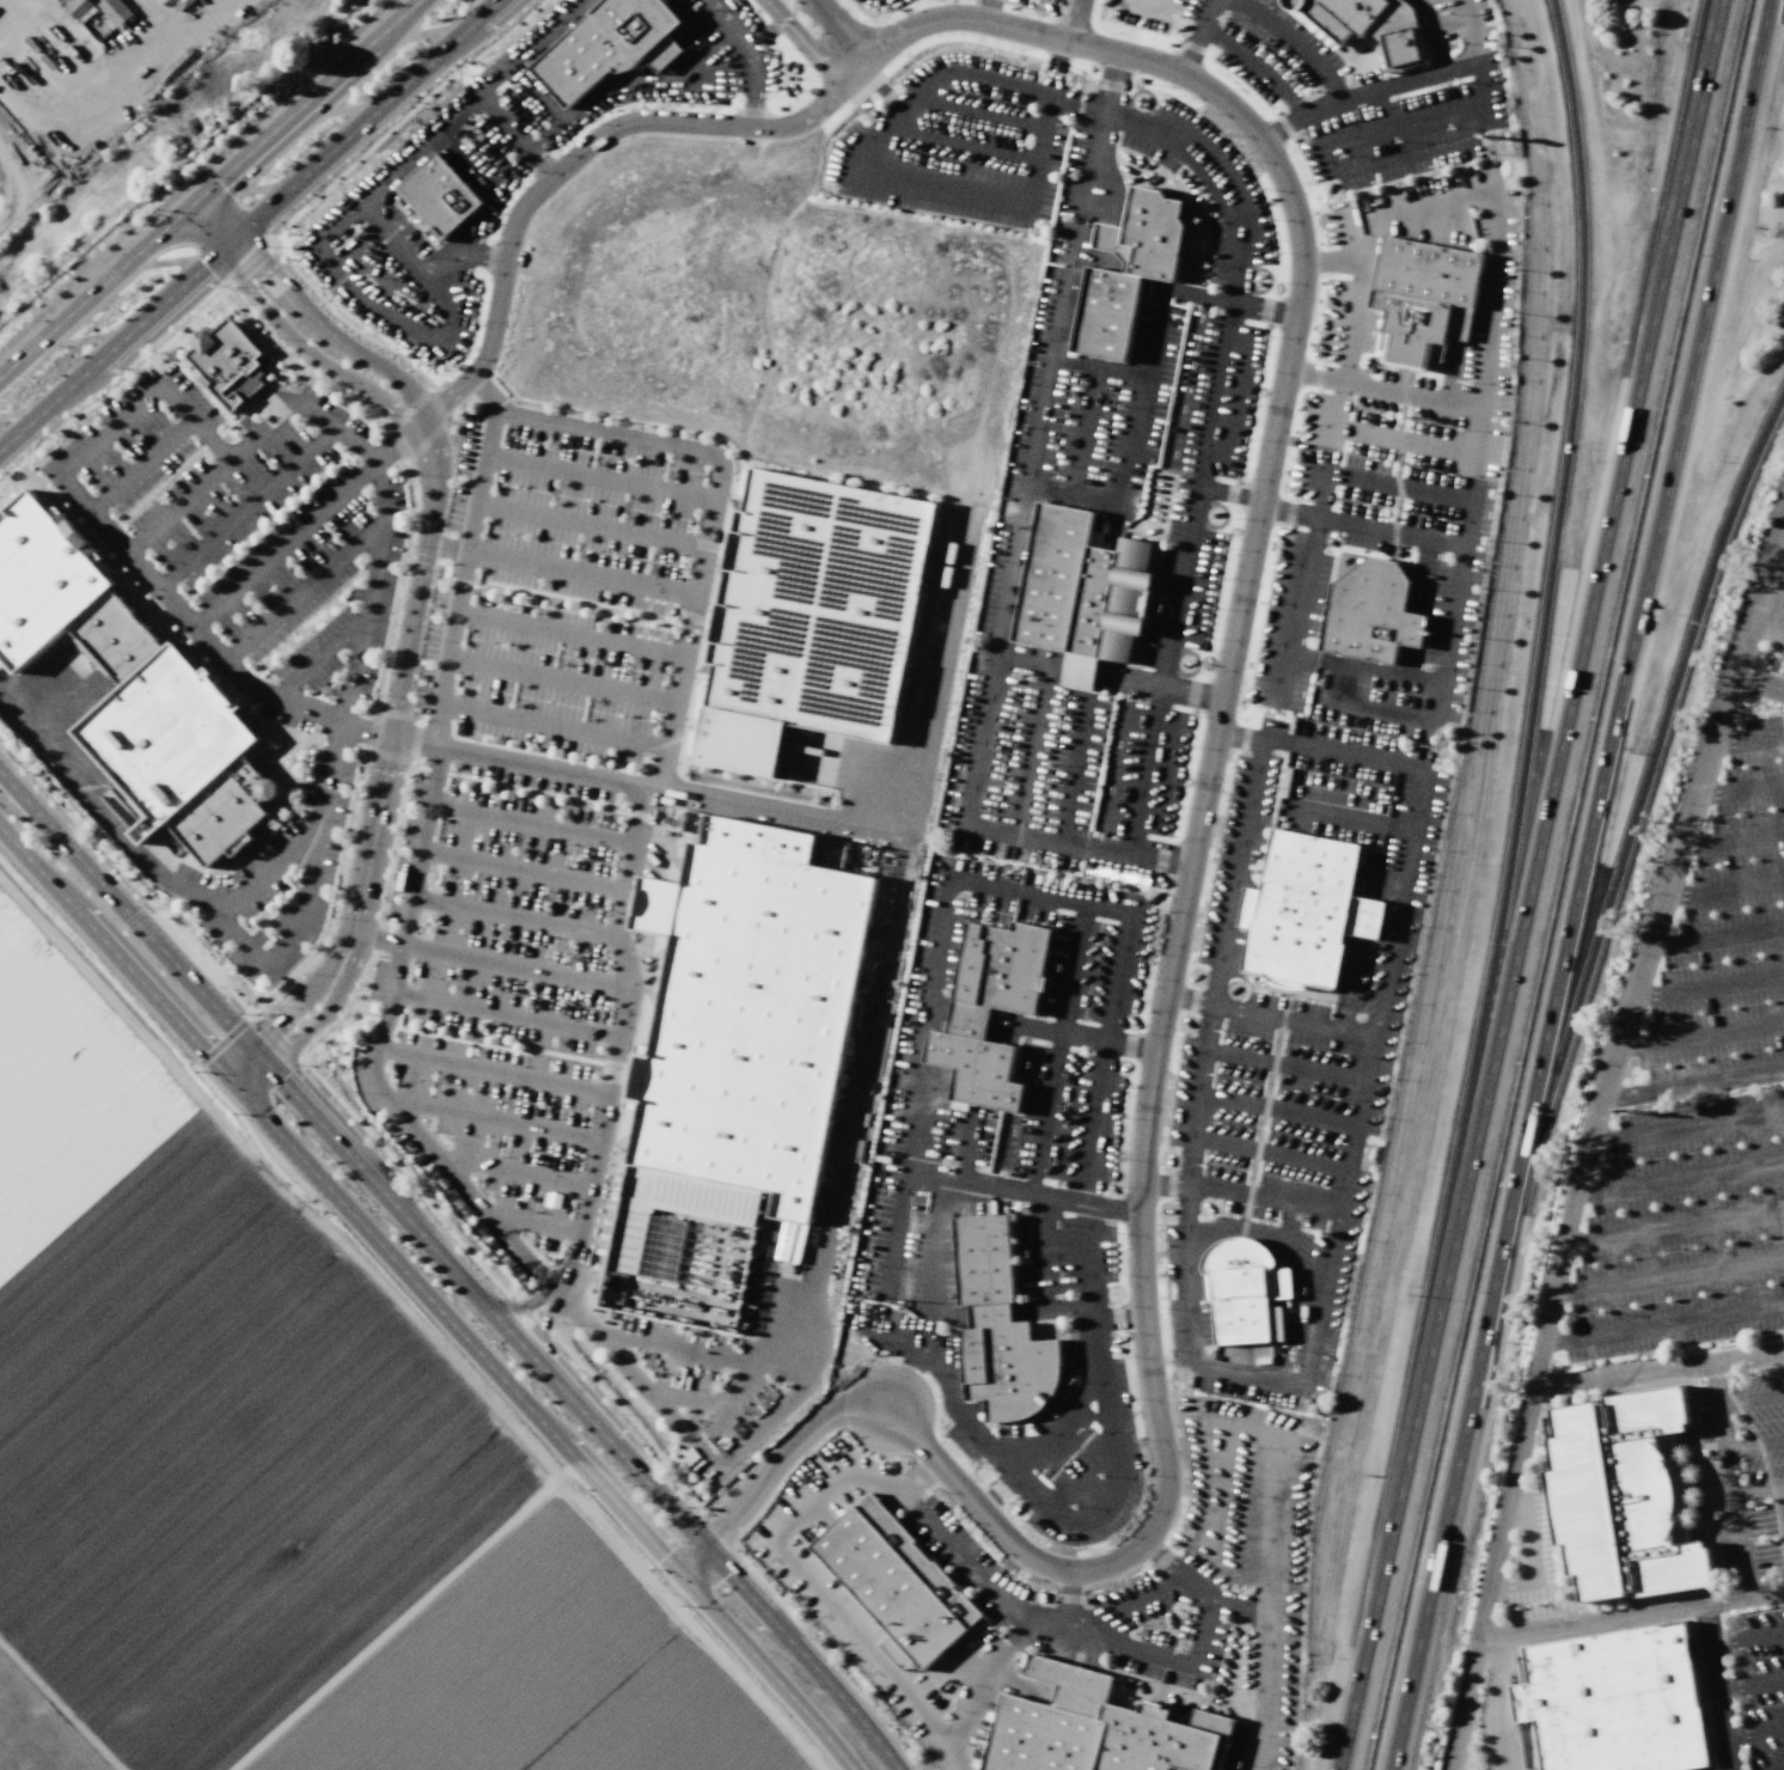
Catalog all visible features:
building: (78, 7)
road: (1145, 7)
building: (115, 12)
road: (1075, 22)
building: (1369, 25)
road: (842, 32)
road: (1195, 35)
road: (1428, 36)
road: (1295, 41)
road: (184, 43)
building: (609, 45)
road: (805, 45)
road: (1254, 63)
road: (929, 78)
road: (1395, 83)
road: (978, 112)
road: (964, 144)
road: (573, 160)
road: (208, 188)
building: (438, 199)
crop: (5, 200)
traffic signals: (193, 203)
road: (1021, 205)
road: (250, 225)
building: (1153, 233)
road: (1496, 233)
traffic signals: (236, 239)
building: (1112, 243)
traffic signals: (218, 255)
building: (1422, 300)
road: (1356, 311)
building: (1105, 312)
road: (306, 316)
road: (287, 331)
road: (1056, 356)
building: (225, 360)
road: (1387, 391)
road: (1236, 404)
road: (1083, 427)
road: (1406, 441)
road: (73, 458)
road: (1569, 460)
road: (139, 465)
road: (599, 478)
road: (1122, 480)
road: (1196, 484)
road: (1397, 487)
road: (1228, 494)
road: (177, 506)
road: (246, 508)
parking lot: (253, 525)
road: (591, 525)
road: (1779, 537)
road: (283, 544)
road: (1768, 559)
road: (560, 568)
road: (418, 579)
road: (1773, 580)
road: (1297, 582)
road: (303, 591)
road: (371, 592)
building: (1081, 592)
parking lot: (1779, 609)
building: (813, 612)
building: (1370, 612)
road: (1765, 624)
road: (569, 633)
road: (1782, 635)
road: (1287, 653)
road: (1446, 657)
road: (318, 658)
road: (994, 667)
road: (560, 680)
road: (1758, 682)
building: (128, 684)
road: (1189, 694)
road: (1034, 721)
road: (552, 727)
road: (1662, 734)
road: (1747, 740)
road: (521, 762)
road: (1069, 773)
road: (656, 774)
road: (1740, 789)
road: (102, 816)
parking lot: (521, 822)
road: (529, 826)
road: (372, 835)
road: (1731, 838)
road: (520, 869)
parking lot: (277, 879)
road: (1375, 879)
road: (407, 883)
road: (1404, 885)
road: (1527, 885)
road: (976, 886)
road: (1593, 886)
road: (1724, 887)
road: (1183, 898)
road: (228, 907)
building: (1305, 910)
road: (511, 913)
road: (1360, 916)
road: (1717, 936)
road: (489, 960)
road: (1218, 960)
road: (1071, 970)
road: (1117, 978)
road: (1346, 983)
road: (1707, 987)
road: (1189, 1000)
road: (288, 1006)
road: (937, 1009)
building: (989, 1009)
building: (745, 1011)
road: (969, 1015)
road: (501, 1017)
road: (1291, 1021)
road: (314, 1026)
road: (1071, 1034)
road: (1700, 1036)
traffic signals: (246, 1044)
road: (1284, 1066)
traffic signals: (268, 1068)
road: (490, 1070)
traffic signals: (231, 1081)
road: (1692, 1085)
parking lot: (1701, 1104)
road: (1277, 1109)
road: (1044, 1112)
road: (490, 1119)
road: (1090, 1122)
road: (1686, 1125)
road: (1270, 1153)
road: (843, 1155)
road: (354, 1160)
road: (513, 1174)
road: (943, 1176)
road: (1680, 1176)
road: (1578, 1182)
road: (274, 1184)
road: (1240, 1192)
road: (338, 1200)
building: (672, 1207)
road: (534, 1225)
road: (1674, 1225)
road: (933, 1258)
road: (1668, 1274)
building: (1242, 1288)
road: (1088, 1289)
road: (1050, 1311)
road: (989, 1316)
road: (1662, 1324)
building: (997, 1326)
road: (911, 1362)
road: (1657, 1369)
road: (1247, 1373)
road: (1752, 1399)
road: (1724, 1429)
road: (1755, 1446)
crop: (279, 1464)
road: (1116, 1470)
road: (918, 1477)
building: (1621, 1494)
road: (1759, 1494)
road: (1783, 1497)
road: (1742, 1549)
traffic signals: (707, 1550)
road: (692, 1561)
traffic signals: (679, 1573)
road: (1175, 1573)
building: (896, 1580)
road: (1009, 1612)
road: (403, 1615)
road: (1064, 1617)
road: (1593, 1622)
road: (1748, 1632)
road: (1200, 1634)
road: (1129, 1646)
road: (1713, 1648)
road: (805, 1656)
road: (766, 1670)
road: (1752, 1682)
parking lot: (1755, 1684)
building: (1613, 1701)
road: (1505, 1703)
building: (1095, 1728)
road: (1755, 1732)

